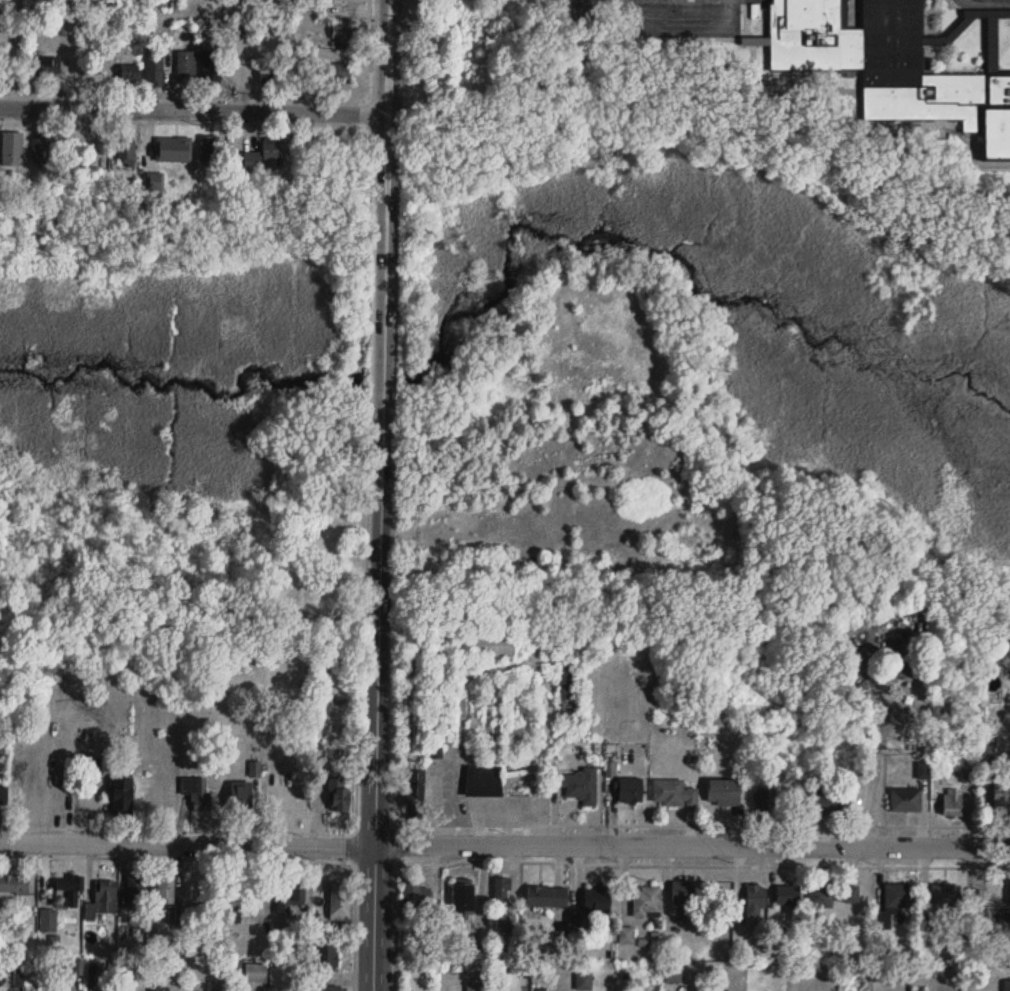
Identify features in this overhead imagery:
road: (989, 1)
building: (343, 33)
building: (212, 65)
building: (889, 65)
building: (186, 66)
building: (154, 67)
building: (237, 70)
building: (272, 70)
building: (129, 73)
building: (335, 73)
building: (45, 75)
road: (193, 109)
building: (210, 147)
building: (12, 148)
building: (41, 149)
building: (101, 149)
building: (126, 149)
building: (173, 149)
building: (264, 155)
building: (155, 181)
road: (368, 415)
road: (381, 495)
building: (493, 642)
building: (570, 642)
building: (445, 664)
building: (415, 753)
building: (499, 782)
building: (579, 786)
building: (631, 790)
building: (197, 793)
building: (416, 793)
building: (674, 793)
building: (724, 793)
building: (340, 795)
building: (122, 796)
building: (1001, 796)
building: (241, 799)
building: (906, 800)
building: (825, 802)
building: (953, 803)
building: (766, 805)
road: (685, 823)
road: (192, 830)
road: (504, 843)
road: (176, 857)
road: (637, 864)
building: (14, 885)
building: (70, 890)
building: (136, 890)
building: (502, 890)
building: (164, 891)
building: (685, 891)
building: (1009, 893)
building: (833, 895)
building: (789, 896)
building: (899, 896)
building: (946, 896)
building: (547, 897)
building: (977, 897)
building: (416, 898)
building: (290, 899)
building: (463, 899)
building: (644, 899)
building: (597, 900)
building: (102, 901)
building: (340, 901)
building: (756, 901)
building: (506, 921)
building: (626, 936)
building: (327, 958)
building: (256, 972)
building: (673, 972)
building: (1005, 984)
building: (328, 988)

